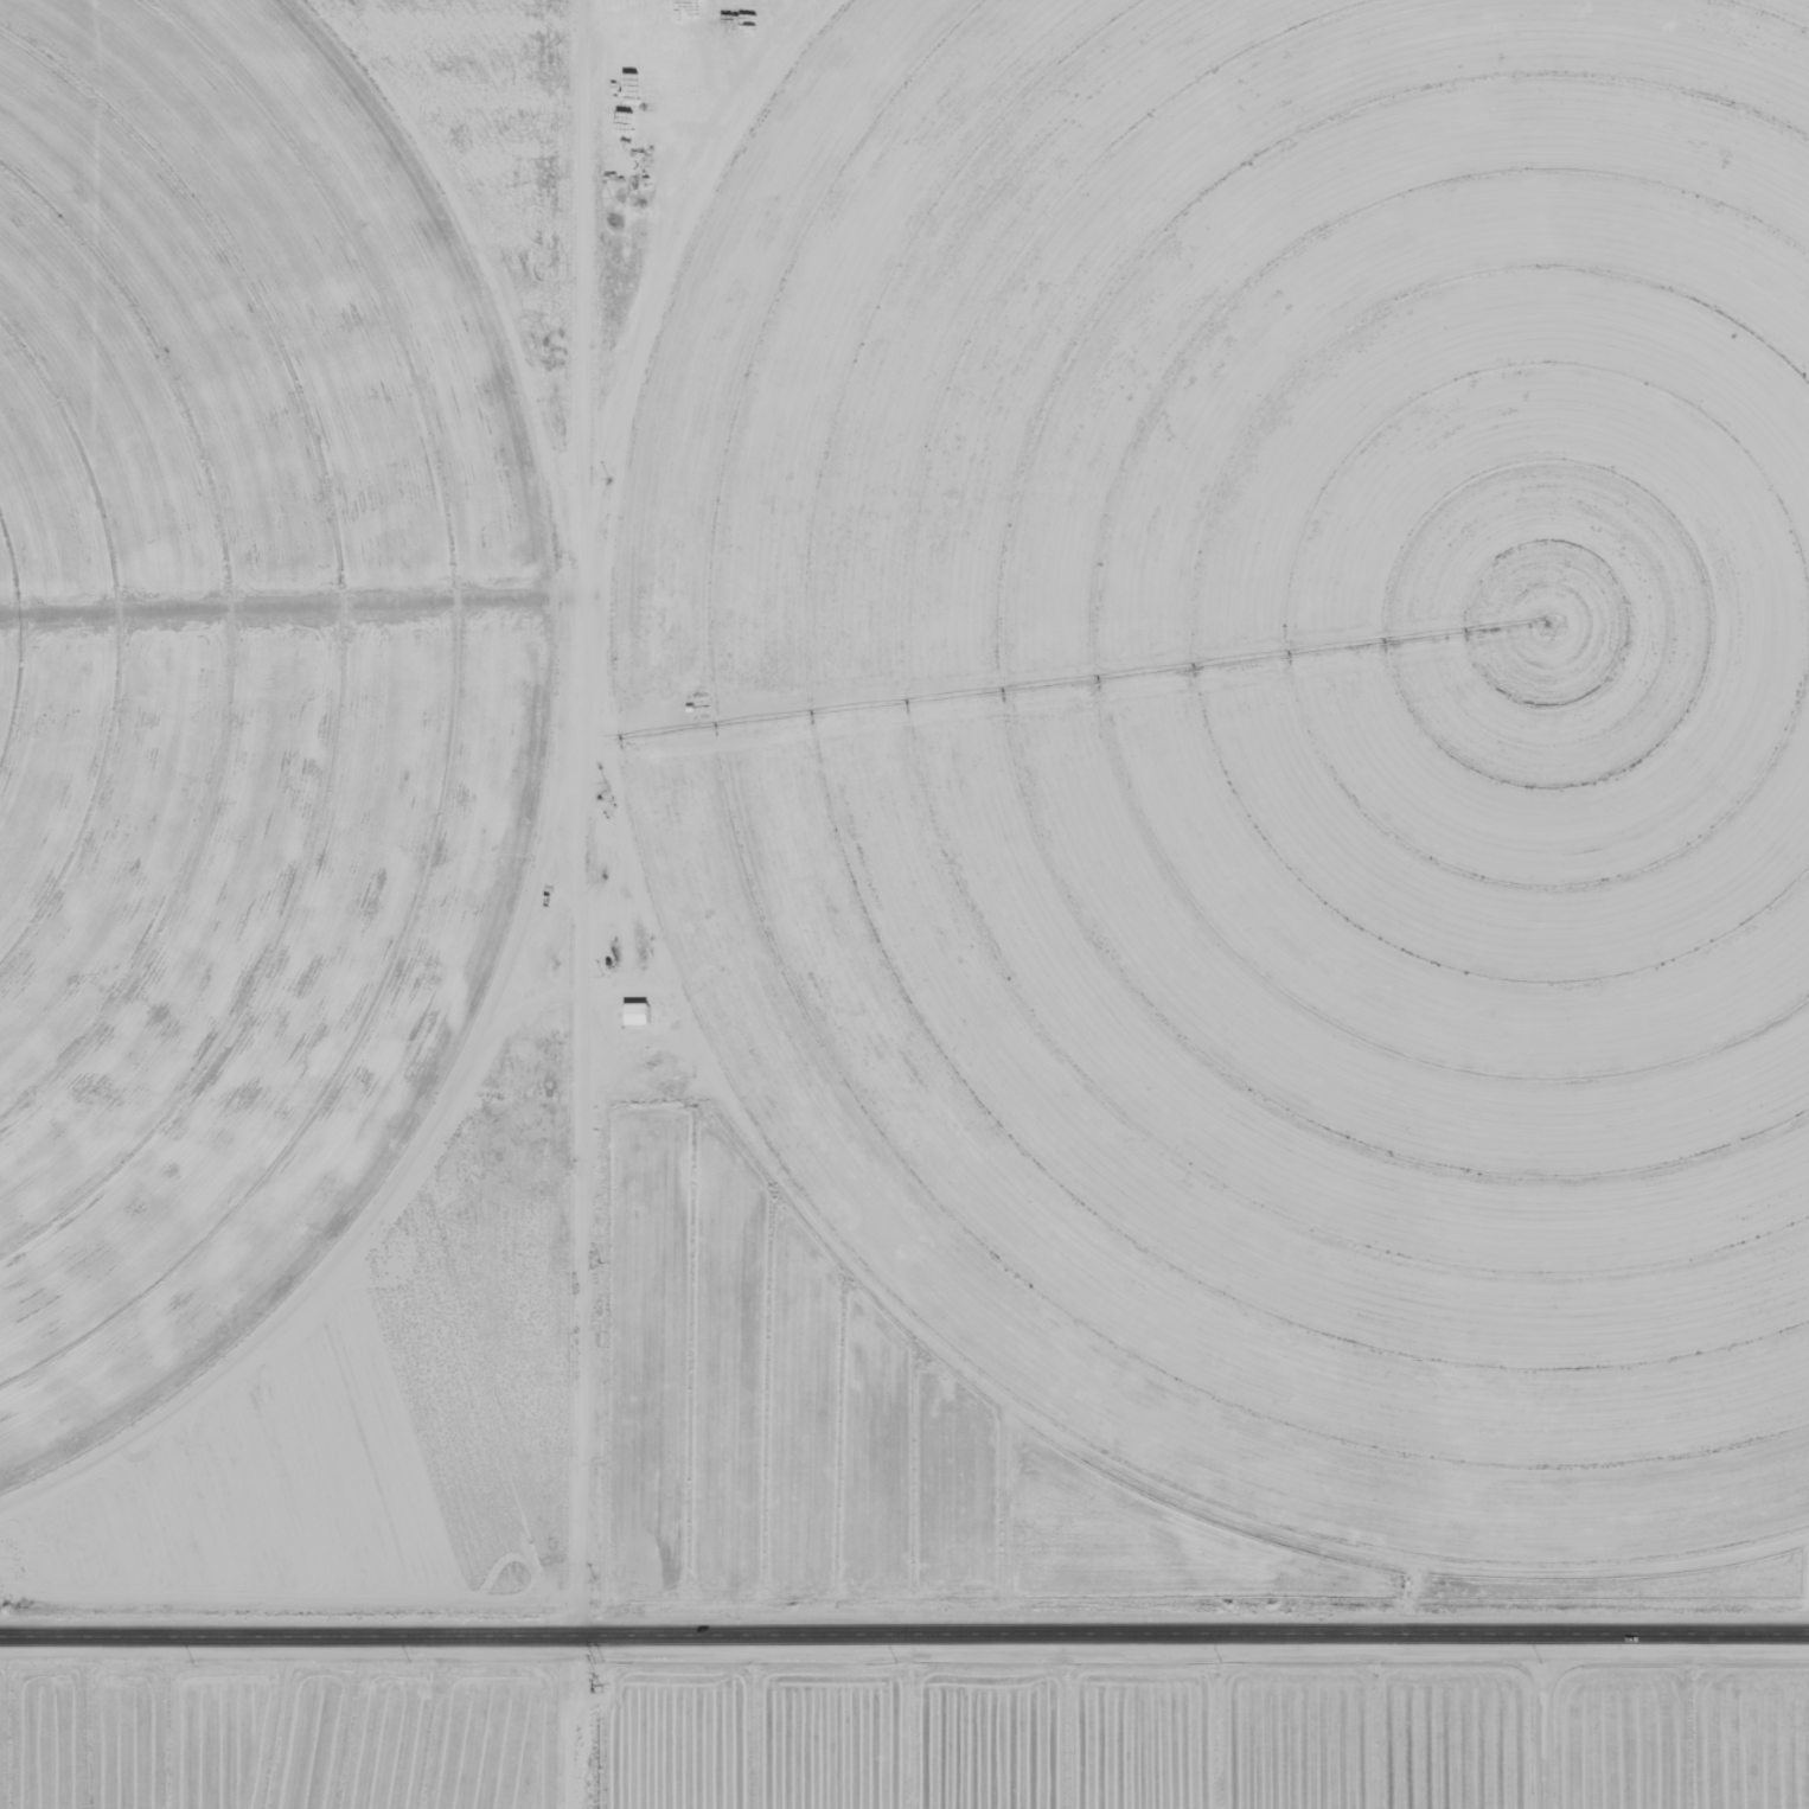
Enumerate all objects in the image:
road: (1510, 26)
crop: (238, 685)
crop: (1268, 731)
road: (600, 904)
building: (620, 948)
road: (903, 1639)

